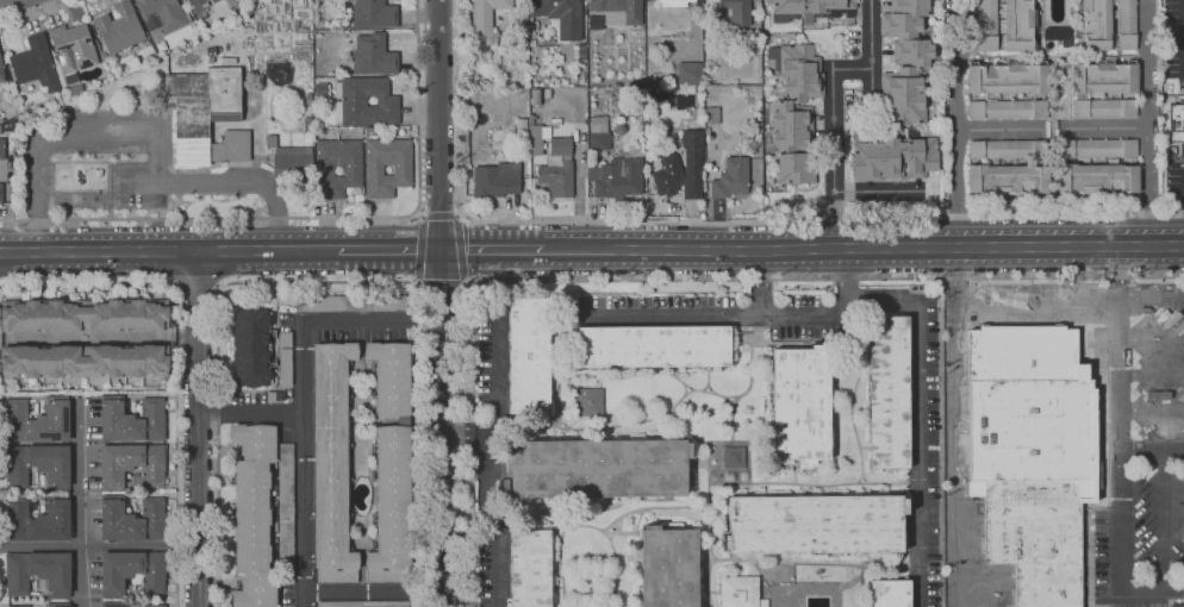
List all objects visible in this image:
road: (1, 0)
building: (206, 0)
building: (214, 1)
building: (193, 2)
building: (230, 2)
road: (887, 2)
building: (679, 4)
road: (880, 6)
building: (909, 7)
building: (814, 8)
building: (622, 10)
road: (35, 12)
building: (737, 12)
building: (1114, 13)
building: (163, 14)
building: (374, 14)
building: (562, 15)
building: (202, 19)
building: (485, 20)
building: (1126, 24)
building: (987, 25)
building: (1095, 25)
building: (899, 26)
building: (1018, 26)
building: (119, 29)
building: (1058, 37)
building: (523, 42)
building: (531, 43)
building: (550, 43)
building: (73, 50)
building: (581, 51)
road: (871, 54)
building: (912, 55)
building: (373, 56)
building: (36, 64)
building: (1, 74)
building: (690, 74)
building: (799, 74)
building: (1103, 77)
building: (1008, 79)
building: (73, 90)
building: (320, 90)
building: (547, 94)
building: (904, 96)
building: (1077, 96)
building: (536, 98)
building: (364, 102)
building: (1104, 108)
building: (1007, 109)
building: (7, 113)
building: (206, 115)
building: (711, 115)
road: (958, 123)
road: (1146, 123)
building: (1177, 123)
building: (307, 125)
building: (792, 125)
road: (1105, 129)
building: (706, 130)
road: (998, 130)
road: (154, 131)
building: (369, 131)
building: (598, 134)
building: (537, 138)
road: (834, 140)
building: (560, 146)
building: (2, 149)
building: (1007, 149)
building: (1096, 149)
building: (921, 157)
building: (566, 158)
building: (877, 159)
building: (291, 163)
building: (668, 163)
building: (794, 164)
building: (374, 170)
building: (351, 171)
building: (617, 177)
building: (556, 179)
building: (730, 179)
building: (496, 180)
building: (1096, 180)
building: (1007, 181)
road: (877, 192)
building: (1, 193)
road: (978, 214)
road: (441, 217)
road: (319, 218)
road: (507, 221)
road: (865, 248)
road: (420, 249)
road: (461, 249)
road: (387, 250)
road: (493, 250)
road: (166, 252)
road: (1117, 271)
road: (662, 279)
road: (322, 281)
road: (442, 282)
road: (761, 284)
road: (197, 288)
road: (1068, 296)
building: (351, 303)
road: (442, 303)
building: (83, 315)
road: (756, 318)
road: (98, 337)
building: (169, 337)
road: (1151, 339)
building: (250, 348)
building: (654, 348)
building: (528, 356)
road: (177, 359)
building: (83, 361)
building: (283, 361)
road: (499, 367)
road: (1151, 374)
building: (391, 378)
building: (21, 383)
building: (887, 393)
building: (270, 396)
road: (305, 396)
building: (588, 403)
building: (800, 405)
road: (1151, 408)
road: (251, 412)
building: (37, 420)
building: (132, 420)
road: (917, 421)
road: (198, 428)
road: (956, 430)
road: (456, 431)
road: (1151, 449)
building: (1033, 455)
building: (731, 458)
building: (331, 464)
building: (38, 465)
building: (132, 465)
building: (596, 469)
road: (1118, 474)
road: (83, 501)
building: (391, 506)
road: (496, 508)
building: (286, 514)
building: (253, 515)
building: (131, 519)
road: (1165, 519)
building: (38, 520)
building: (814, 525)
road: (99, 545)
building: (667, 568)
building: (529, 569)
building: (37, 572)
building: (132, 572)
road: (373, 590)
building: (740, 592)
building: (889, 594)
building: (112, 603)
building: (362, 603)
building: (58, 605)
building: (18, 606)
building: (154, 606)
building: (1177, 606)

